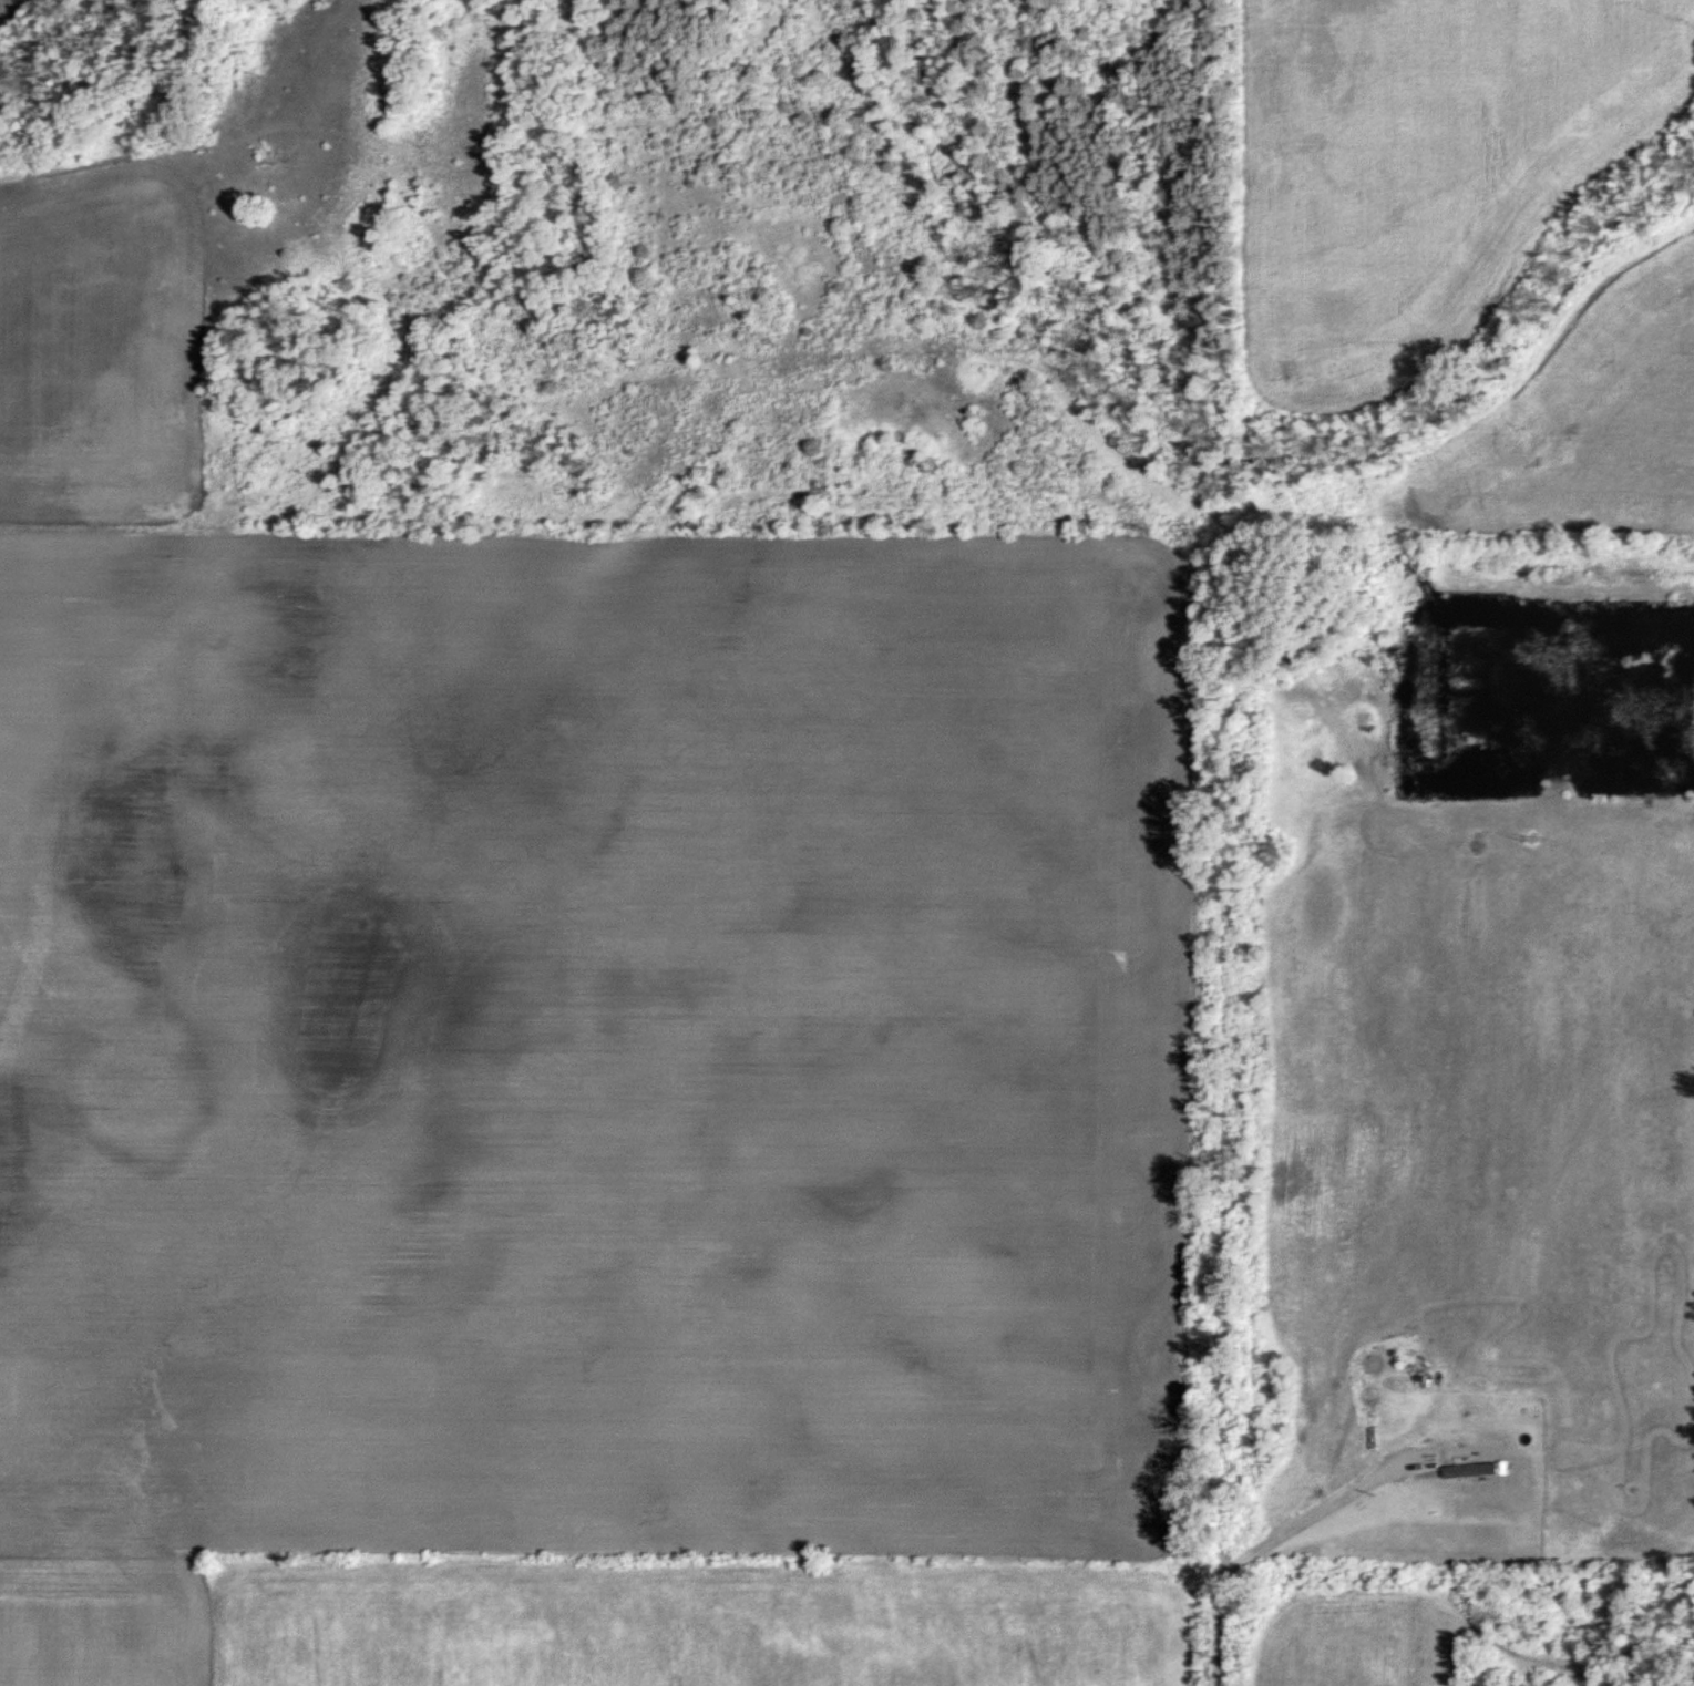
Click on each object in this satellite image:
road: (1222, 1256)
building: (1476, 1470)
road: (1323, 1508)

